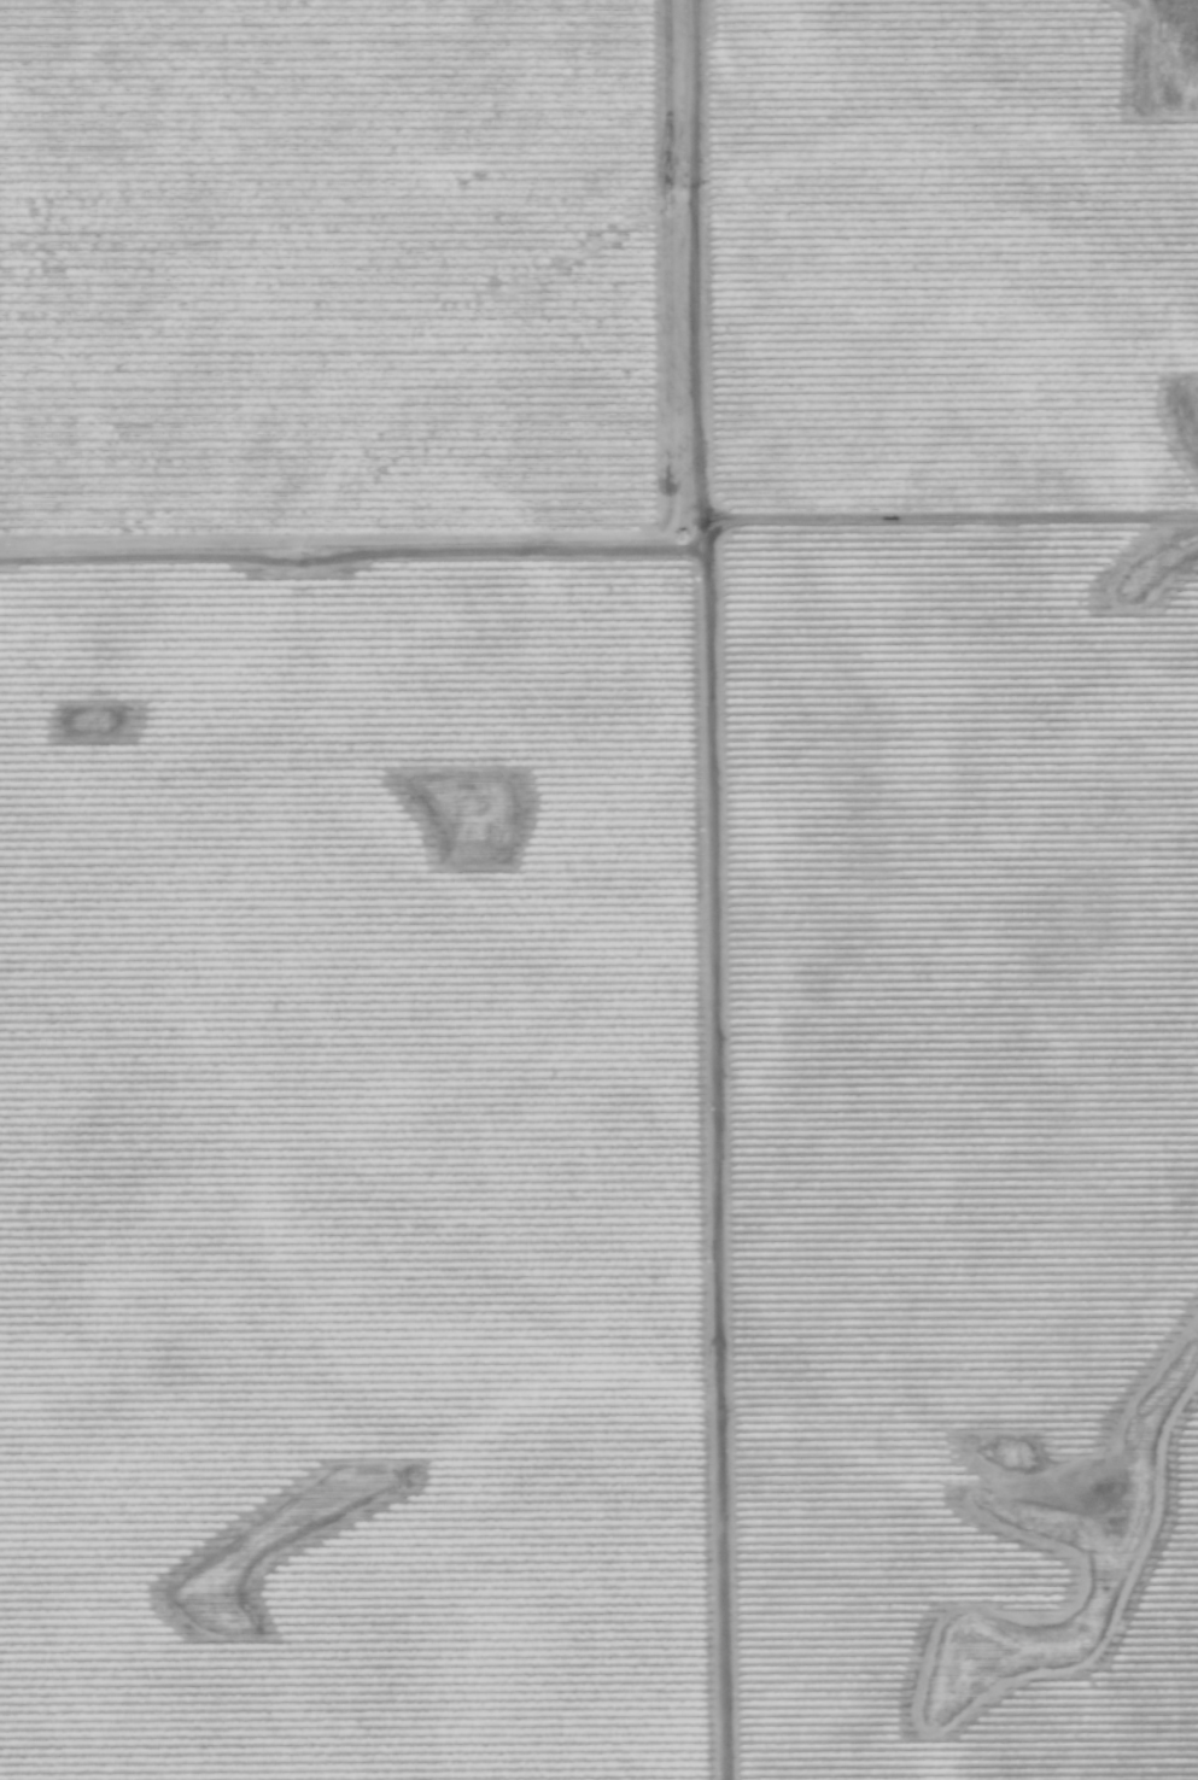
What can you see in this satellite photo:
crop: (597, 268)

